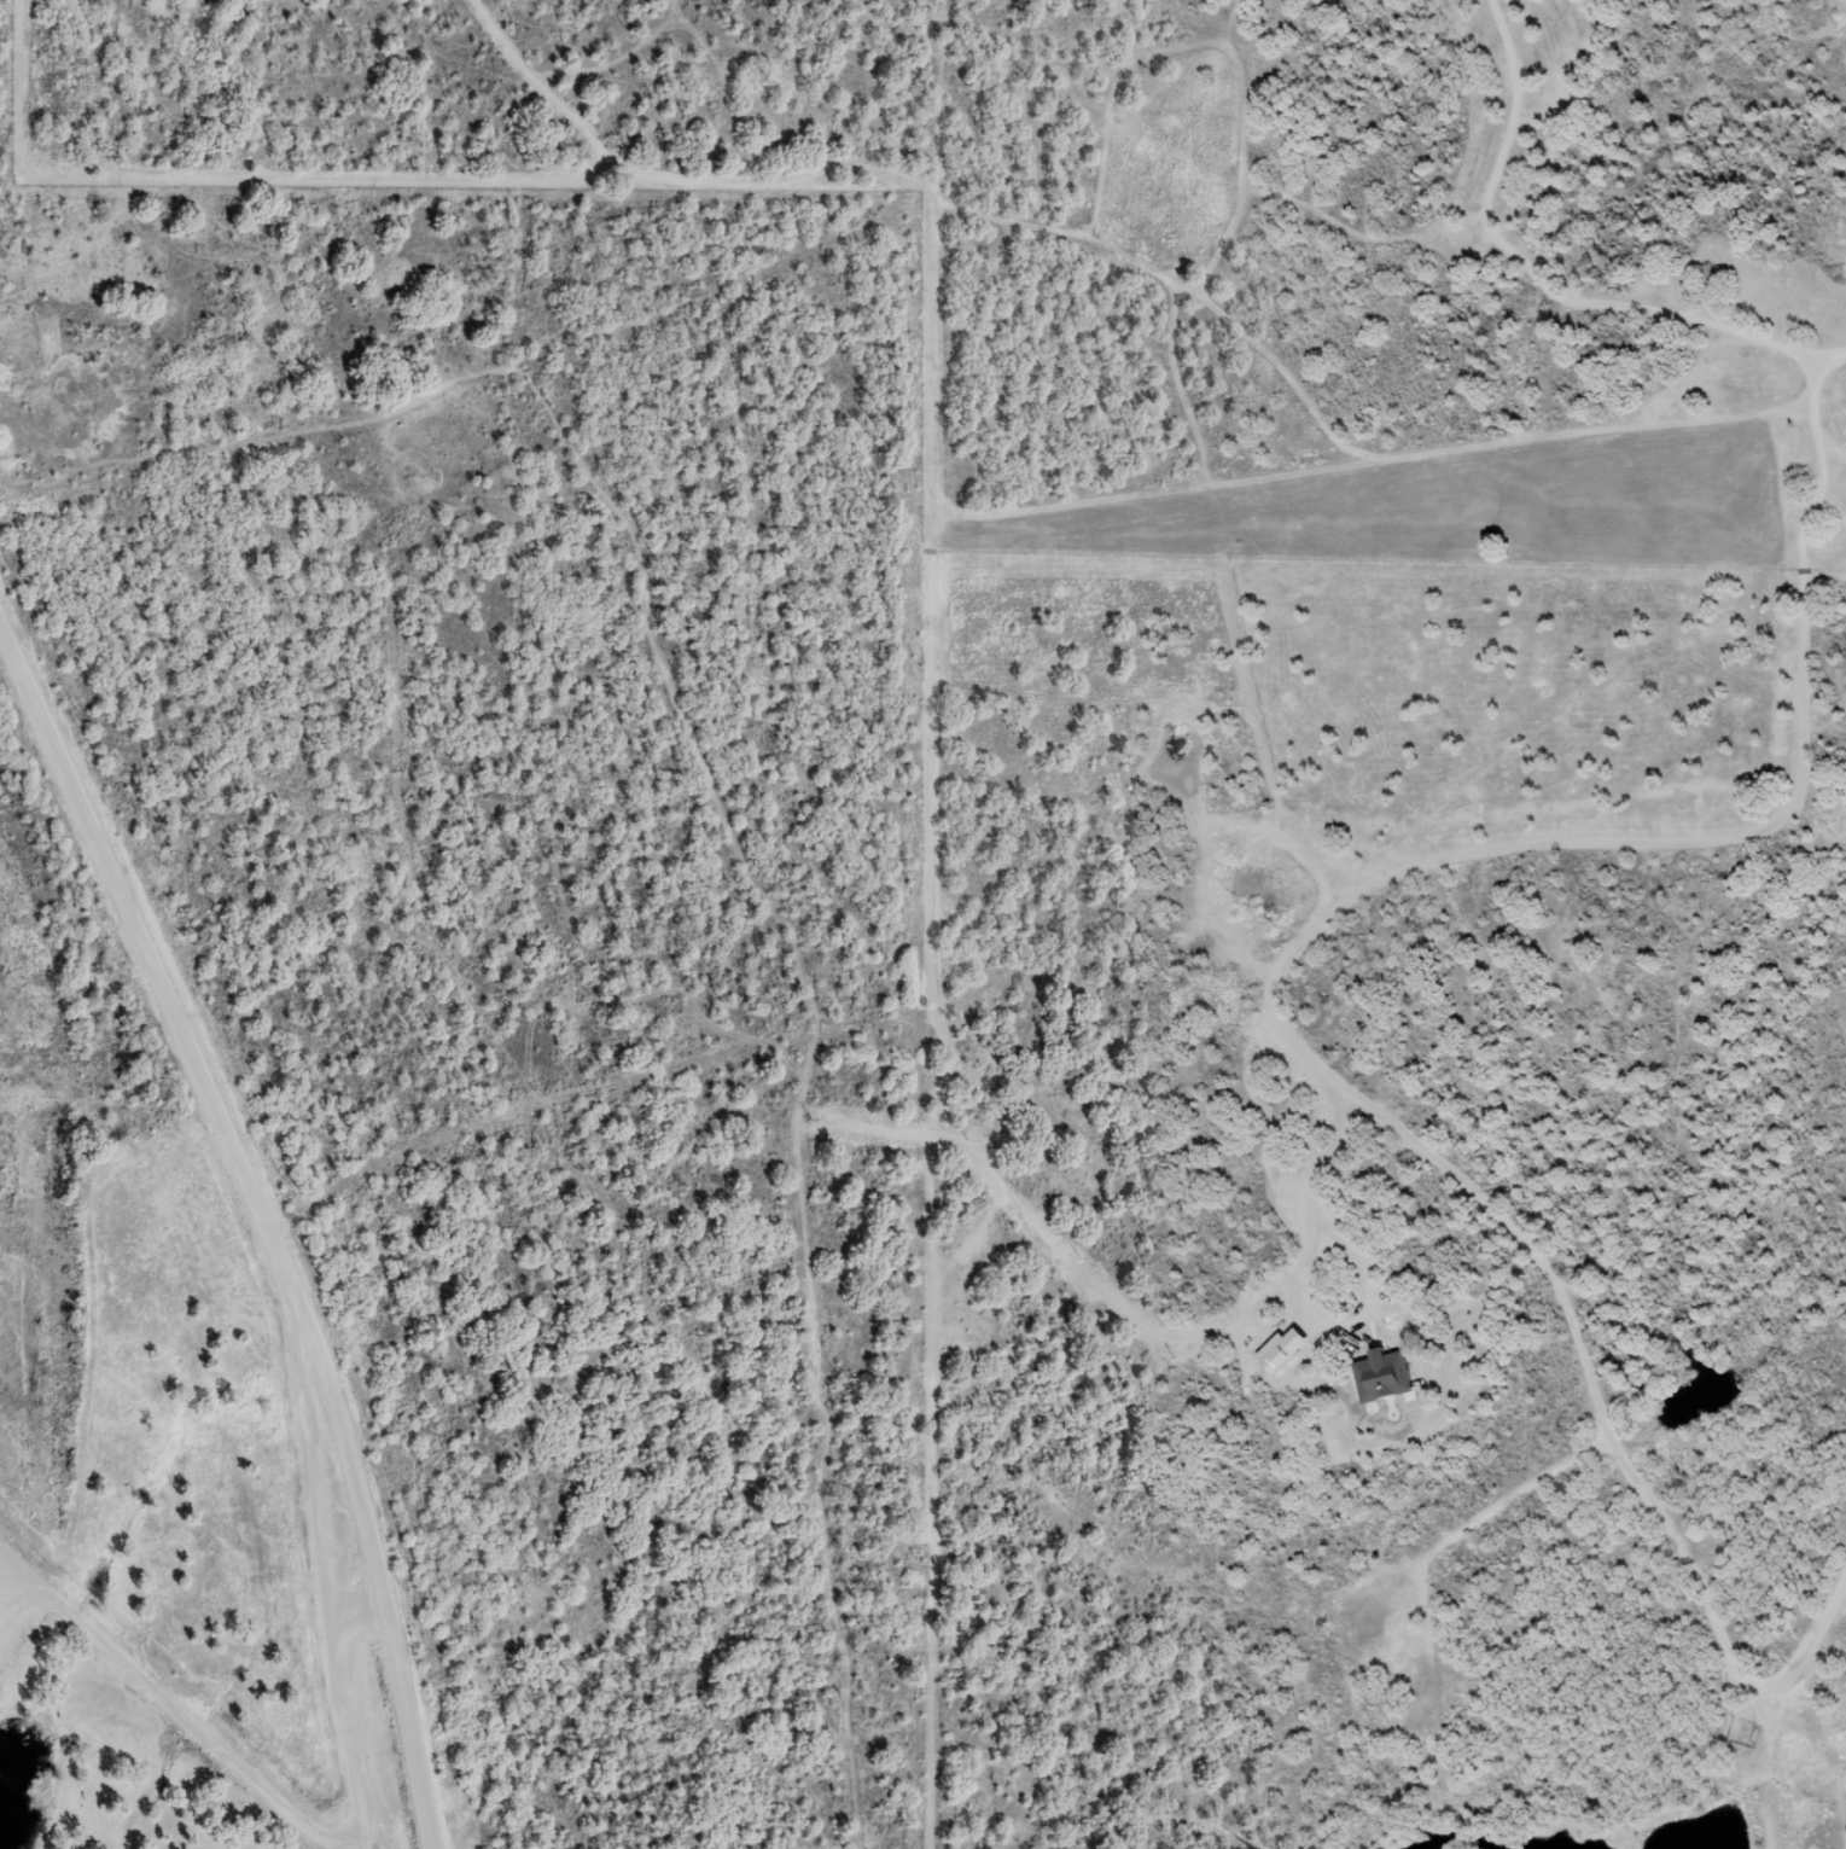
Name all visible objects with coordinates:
road: (1629, 306)
road: (1829, 356)
road: (1283, 1022)
road: (262, 1221)
building: (1283, 1359)
building: (1380, 1384)
road: (324, 1566)
road: (118, 1713)
road: (180, 1716)

